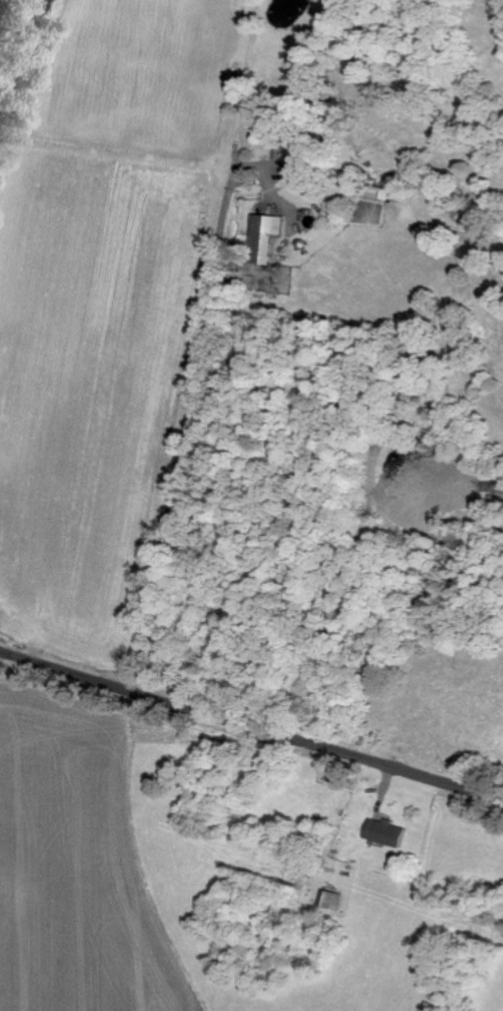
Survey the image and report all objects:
building: (285, 155)
building: (375, 195)
building: (263, 239)
road: (206, 445)
road: (250, 725)
building: (384, 833)
building: (334, 901)

